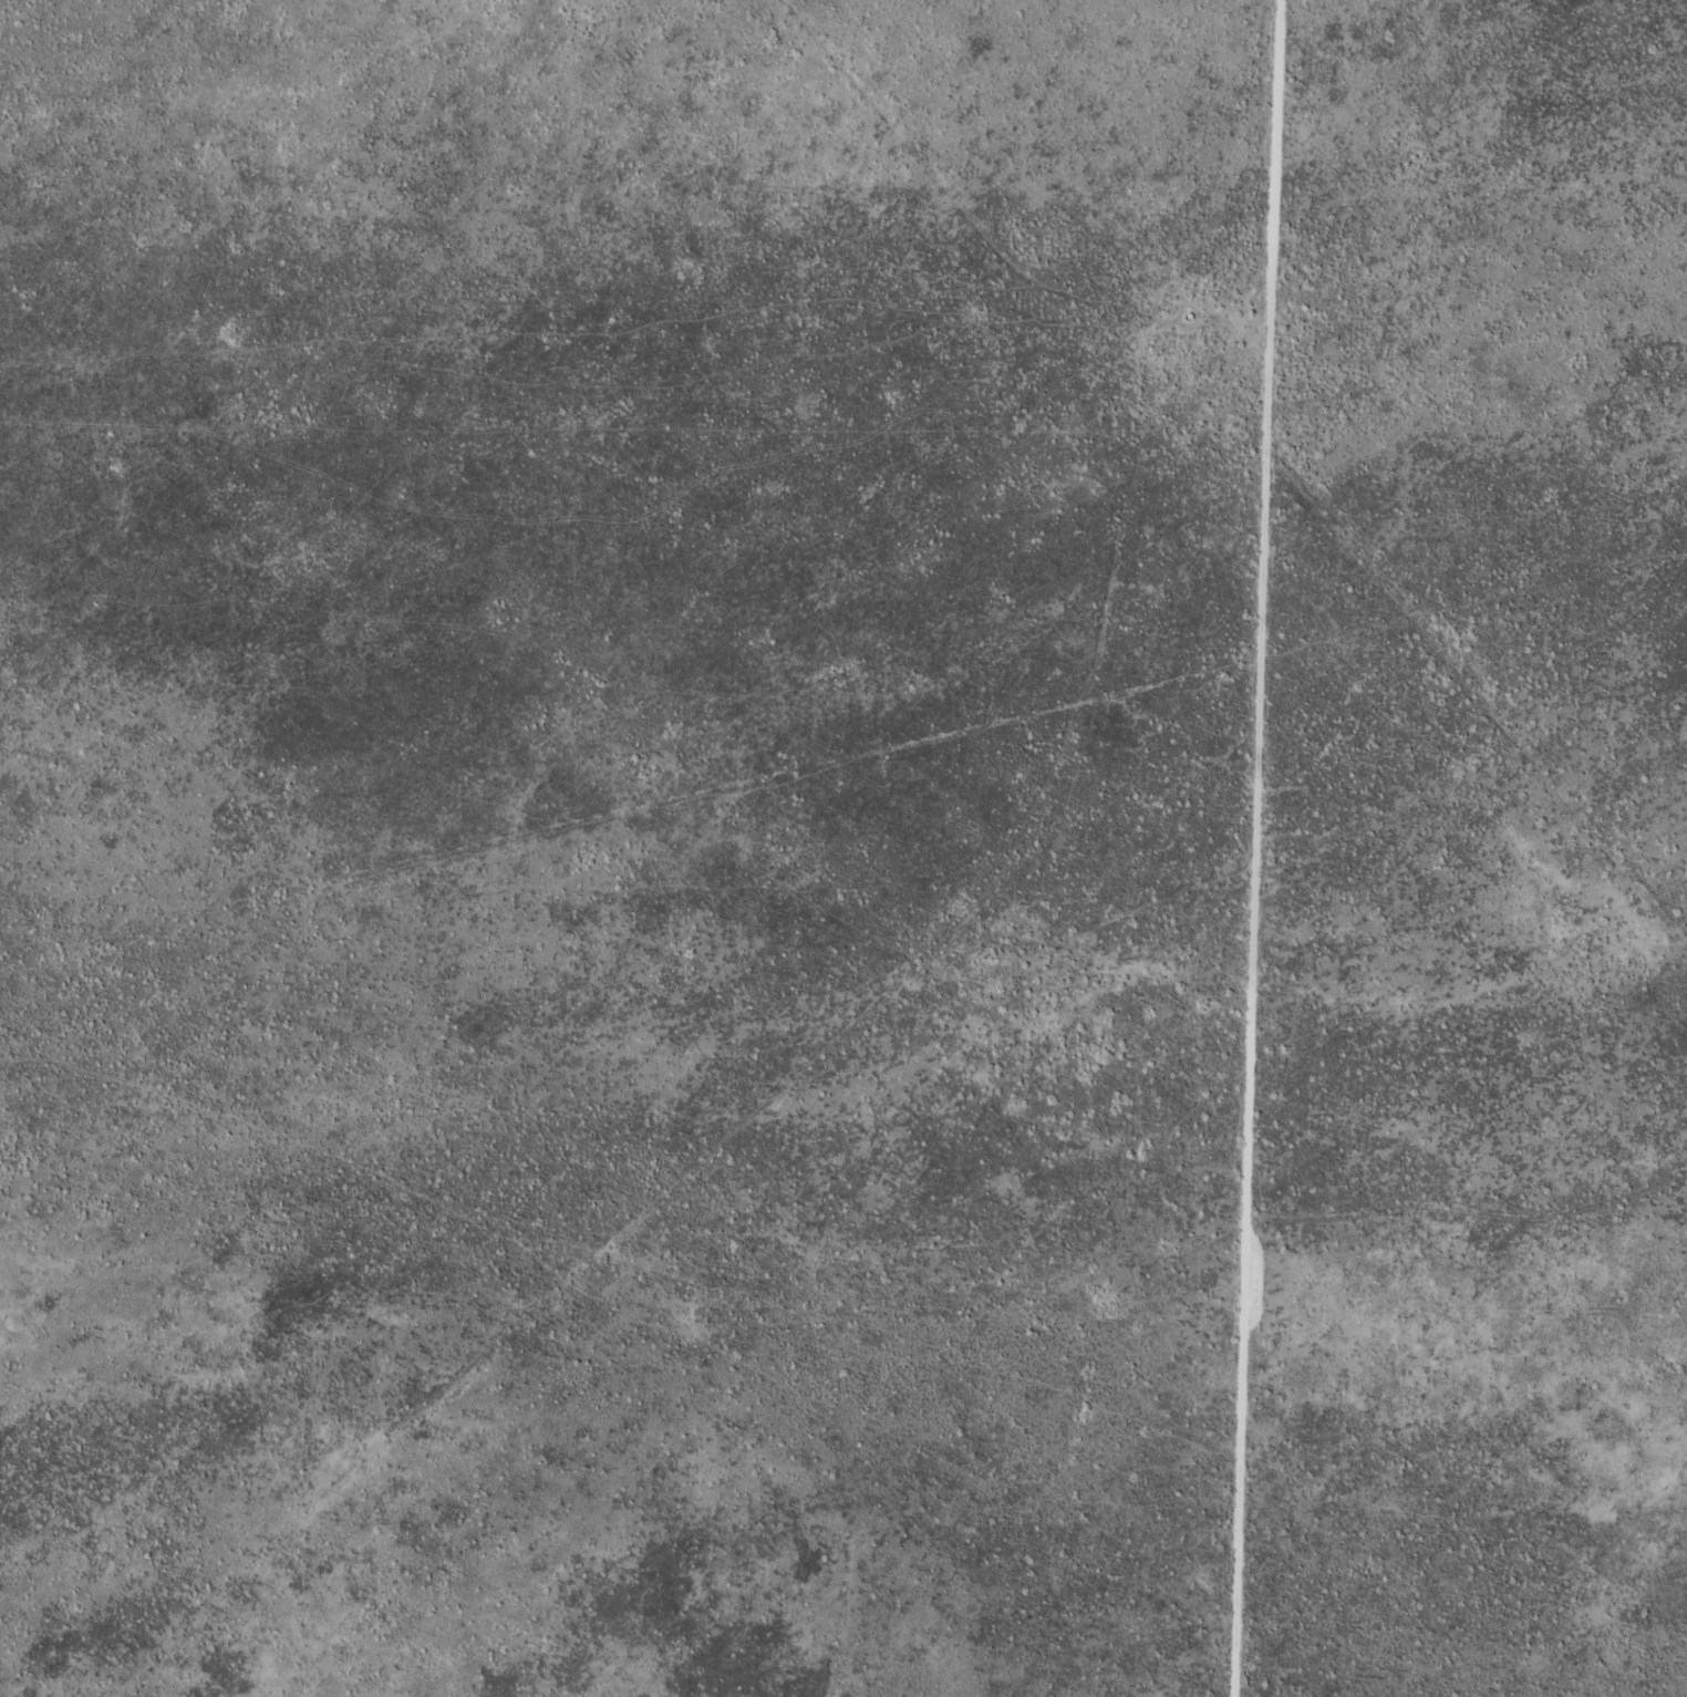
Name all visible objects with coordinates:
road: (1158, 373)
road: (720, 1107)

